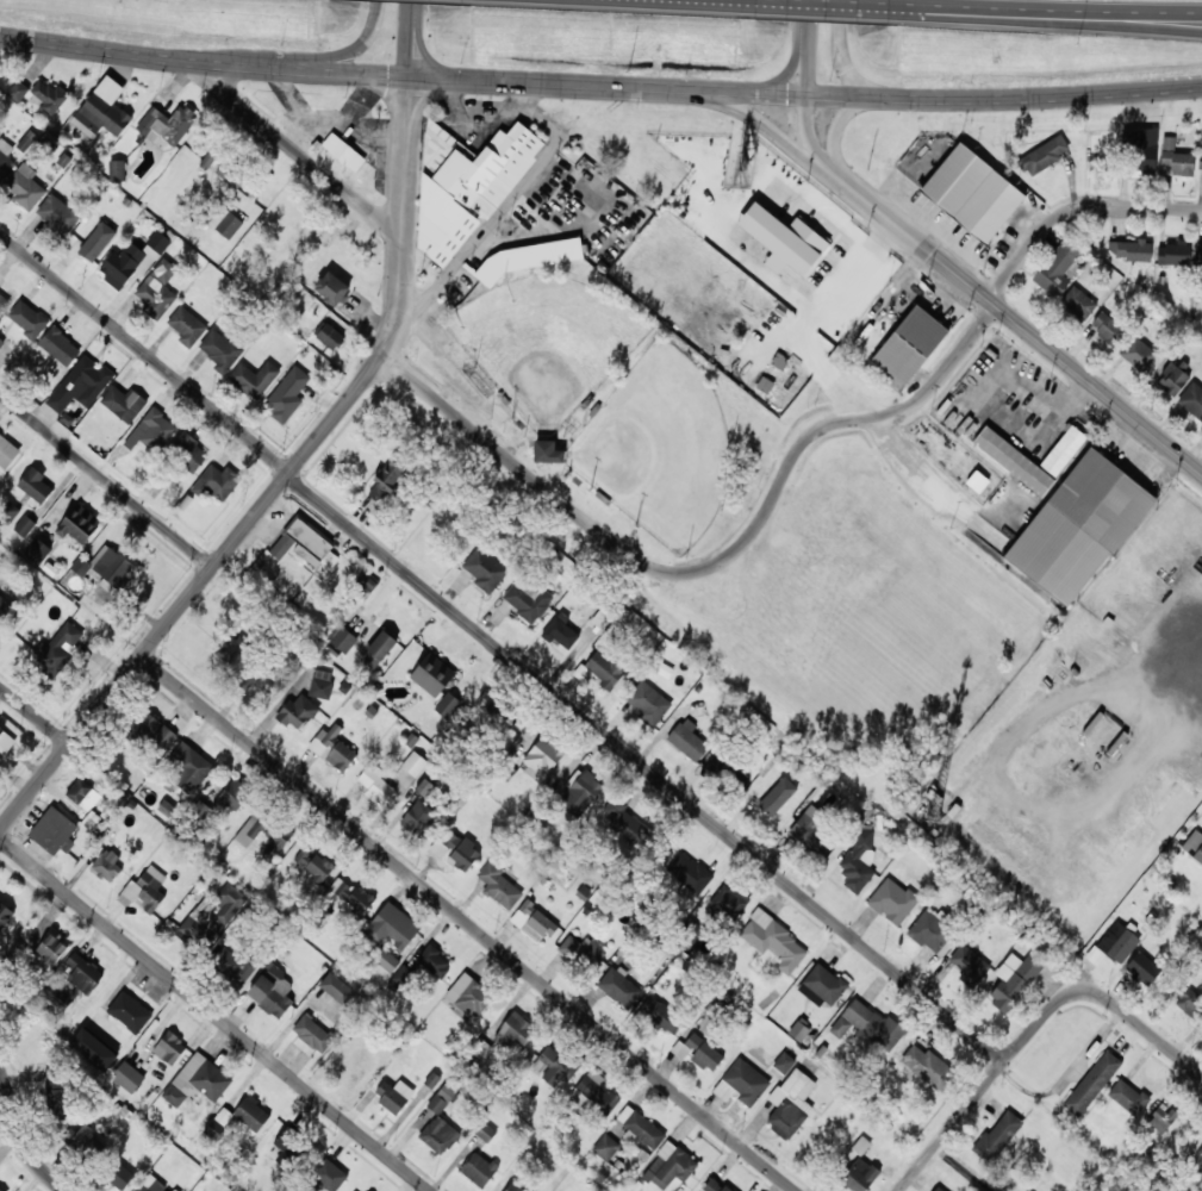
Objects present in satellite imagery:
road: (814, 4)
road: (410, 6)
road: (1050, 10)
road: (811, 15)
road: (1050, 20)
road: (407, 21)
road: (413, 21)
road: (367, 31)
road: (108, 50)
road: (405, 51)
road: (426, 55)
road: (841, 55)
road: (329, 62)
road: (810, 64)
road: (266, 67)
road: (447, 75)
road: (776, 80)
road: (695, 88)
building: (18, 91)
building: (50, 95)
road: (1038, 96)
road: (841, 98)
road: (422, 105)
road: (404, 108)
building: (102, 110)
building: (166, 125)
road: (837, 126)
road: (774, 131)
road: (809, 138)
building: (343, 151)
building: (1141, 151)
road: (303, 155)
building: (1042, 155)
building: (5, 158)
building: (1176, 158)
building: (1200, 160)
building: (117, 169)
building: (230, 174)
building: (24, 186)
building: (466, 186)
building: (972, 192)
building: (57, 214)
building: (225, 222)
building: (783, 239)
building: (96, 241)
building: (157, 241)
building: (1128, 249)
road: (401, 251)
building: (1171, 252)
building: (525, 258)
building: (1201, 261)
building: (122, 264)
building: (1057, 269)
building: (331, 287)
building: (156, 289)
building: (2, 303)
building: (1078, 303)
building: (27, 318)
road: (1019, 320)
building: (187, 325)
building: (1108, 328)
building: (328, 335)
building: (1, 341)
building: (910, 344)
building: (60, 347)
building: (220, 350)
building: (1136, 353)
building: (253, 378)
building: (1172, 379)
building: (80, 384)
building: (288, 392)
building: (1191, 400)
building: (123, 403)
building: (151, 430)
building: (7, 450)
building: (1063, 450)
building: (187, 451)
building: (547, 451)
building: (1013, 460)
road: (787, 463)
road: (106, 479)
building: (386, 480)
building: (217, 482)
building: (35, 485)
building: (10, 509)
building: (79, 523)
building: (24, 525)
building: (1078, 526)
building: (305, 544)
building: (36, 550)
building: (80, 566)
building: (113, 566)
building: (484, 568)
building: (367, 580)
road: (192, 592)
building: (528, 601)
building: (4, 606)
building: (561, 631)
building: (341, 637)
building: (230, 647)
building: (60, 648)
building: (378, 649)
road: (502, 649)
building: (604, 668)
building: (432, 674)
building: (248, 679)
building: (320, 684)
building: (648, 703)
building: (447, 705)
building: (298, 711)
road: (35, 715)
building: (154, 731)
building: (5, 740)
building: (687, 740)
building: (332, 748)
building: (541, 757)
building: (188, 767)
building: (716, 767)
building: (410, 769)
building: (376, 785)
building: (424, 787)
building: (581, 792)
building: (82, 793)
building: (231, 794)
building: (777, 796)
building: (419, 817)
building: (627, 822)
building: (811, 829)
building: (54, 831)
building: (264, 833)
building: (1194, 846)
building: (460, 850)
building: (313, 862)
building: (858, 862)
building: (107, 866)
building: (689, 873)
building: (500, 886)
building: (147, 888)
building: (350, 894)
building: (727, 899)
building: (892, 900)
building: (5, 913)
building: (211, 915)
building: (533, 921)
road: (468, 923)
building: (392, 925)
building: (932, 933)
building: (773, 940)
building: (1114, 943)
building: (51, 948)
building: (583, 950)
building: (385, 958)
building: (432, 961)
building: (232, 965)
building: (969, 965)
building: (1142, 968)
building: (83, 973)
building: (403, 975)
building: (1014, 979)
building: (823, 984)
building: (619, 986)
building: (341, 990)
building: (272, 991)
building: (56, 996)
building: (468, 997)
building: (1188, 1002)
building: (129, 1011)
road: (214, 1015)
building: (659, 1015)
building: (868, 1025)
building: (517, 1030)
building: (312, 1033)
building: (1201, 1041)
road: (1163, 1043)
building: (169, 1047)
building: (93, 1048)
building: (697, 1052)
building: (784, 1062)
building: (555, 1066)
building: (927, 1066)
road: (999, 1067)
building: (127, 1075)
building: (197, 1080)
building: (741, 1083)
building: (1091, 1083)
building: (56, 1092)
building: (593, 1092)
building: (393, 1095)
building: (1127, 1097)
building: (438, 1100)
building: (790, 1103)
building: (251, 1114)
building: (1161, 1117)
building: (640, 1127)
building: (213, 1129)
building: (485, 1131)
building: (438, 1134)
building: (80, 1136)
building: (997, 1136)
road: (18, 1140)
building: (605, 1147)
building: (1201, 1149)
building: (669, 1166)
building: (858, 1166)
building: (479, 1168)
building: (1201, 1170)
building: (329, 1174)
building: (119, 1176)
building: (154, 1185)
building: (715, 1185)
building: (513, 1187)
building: (938, 1189)
building: (0, 1190)

